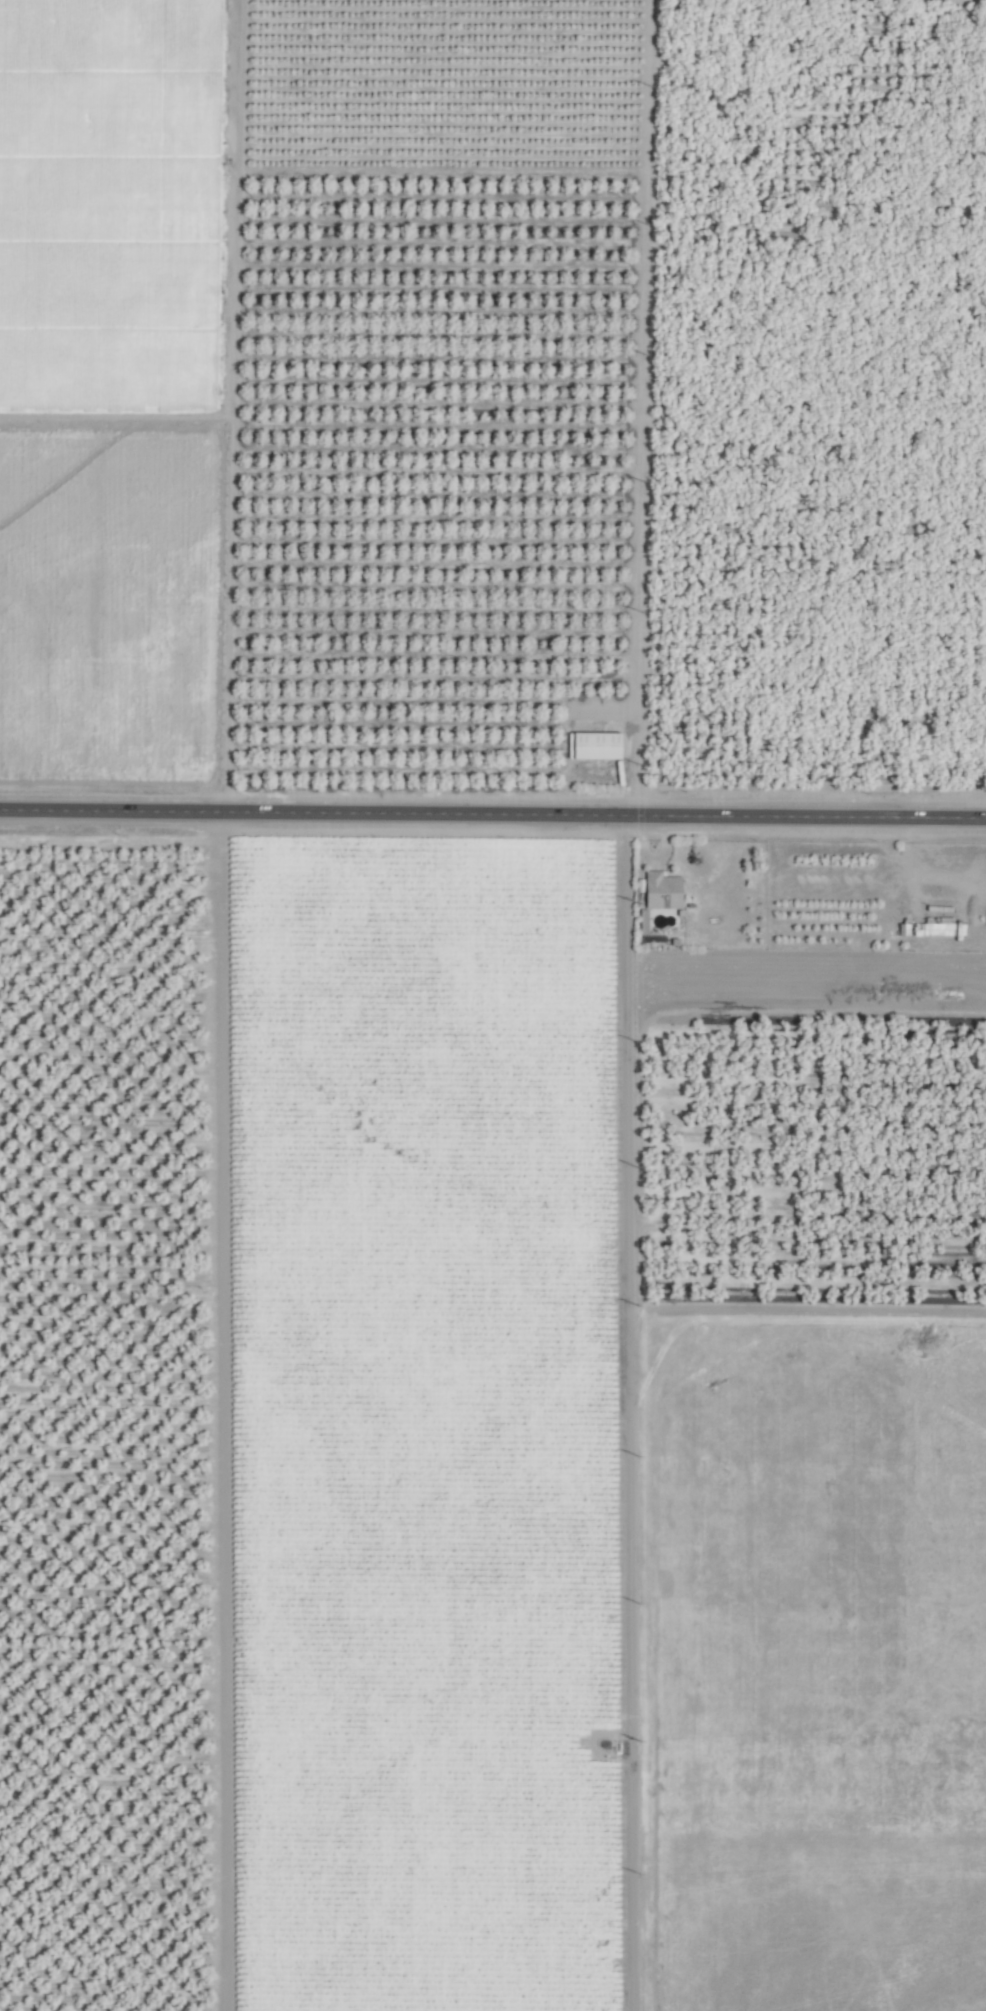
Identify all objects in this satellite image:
building: (601, 747)
road: (492, 814)
building: (665, 891)
crop: (493, 1005)
road: (220, 1411)
road: (628, 1412)
crop: (810, 1924)

